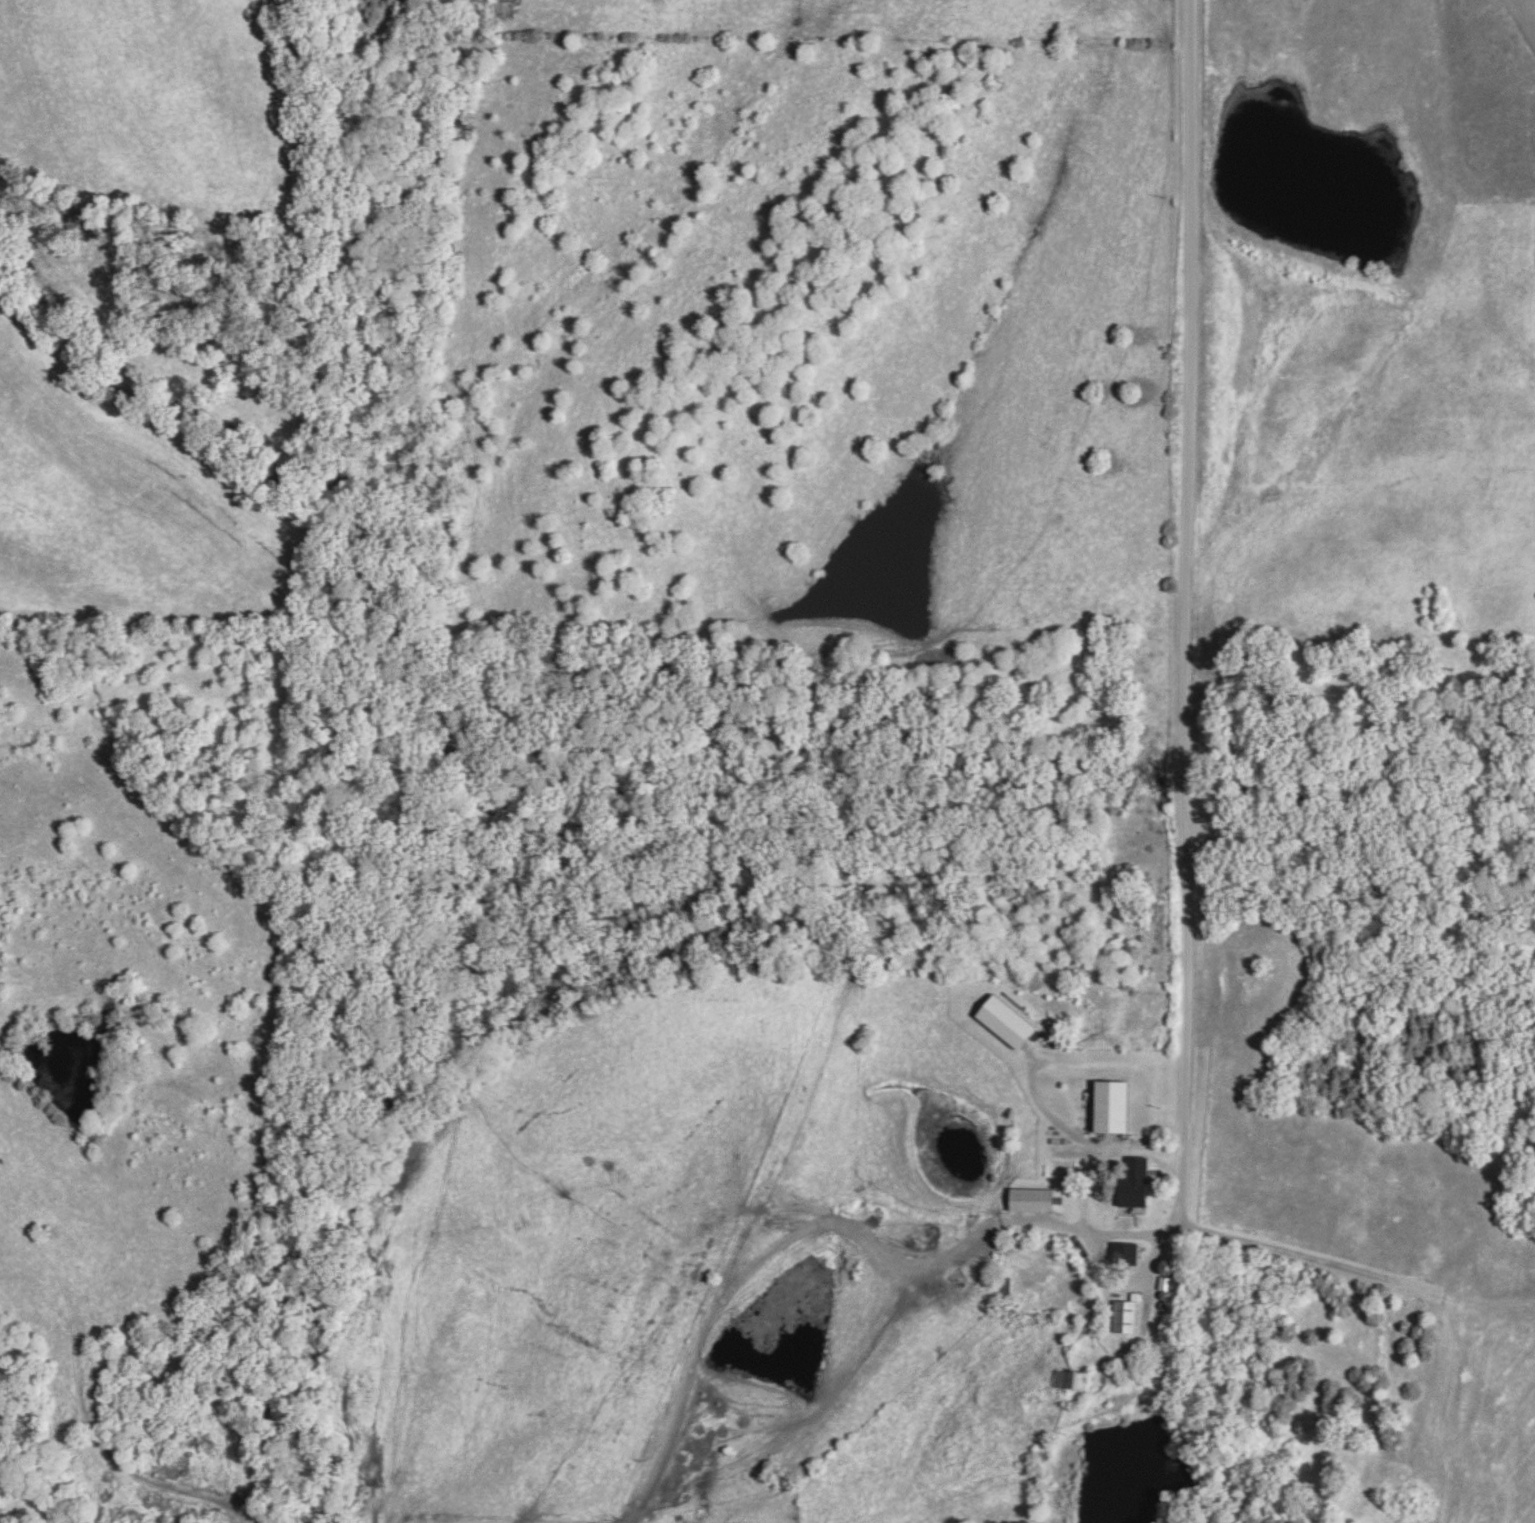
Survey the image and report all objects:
road: (1183, 613)
building: (1111, 1106)
road: (1122, 1147)
building: (1132, 1191)
building: (1030, 1199)
building: (1123, 1253)
building: (1124, 1316)
building: (1069, 1379)

